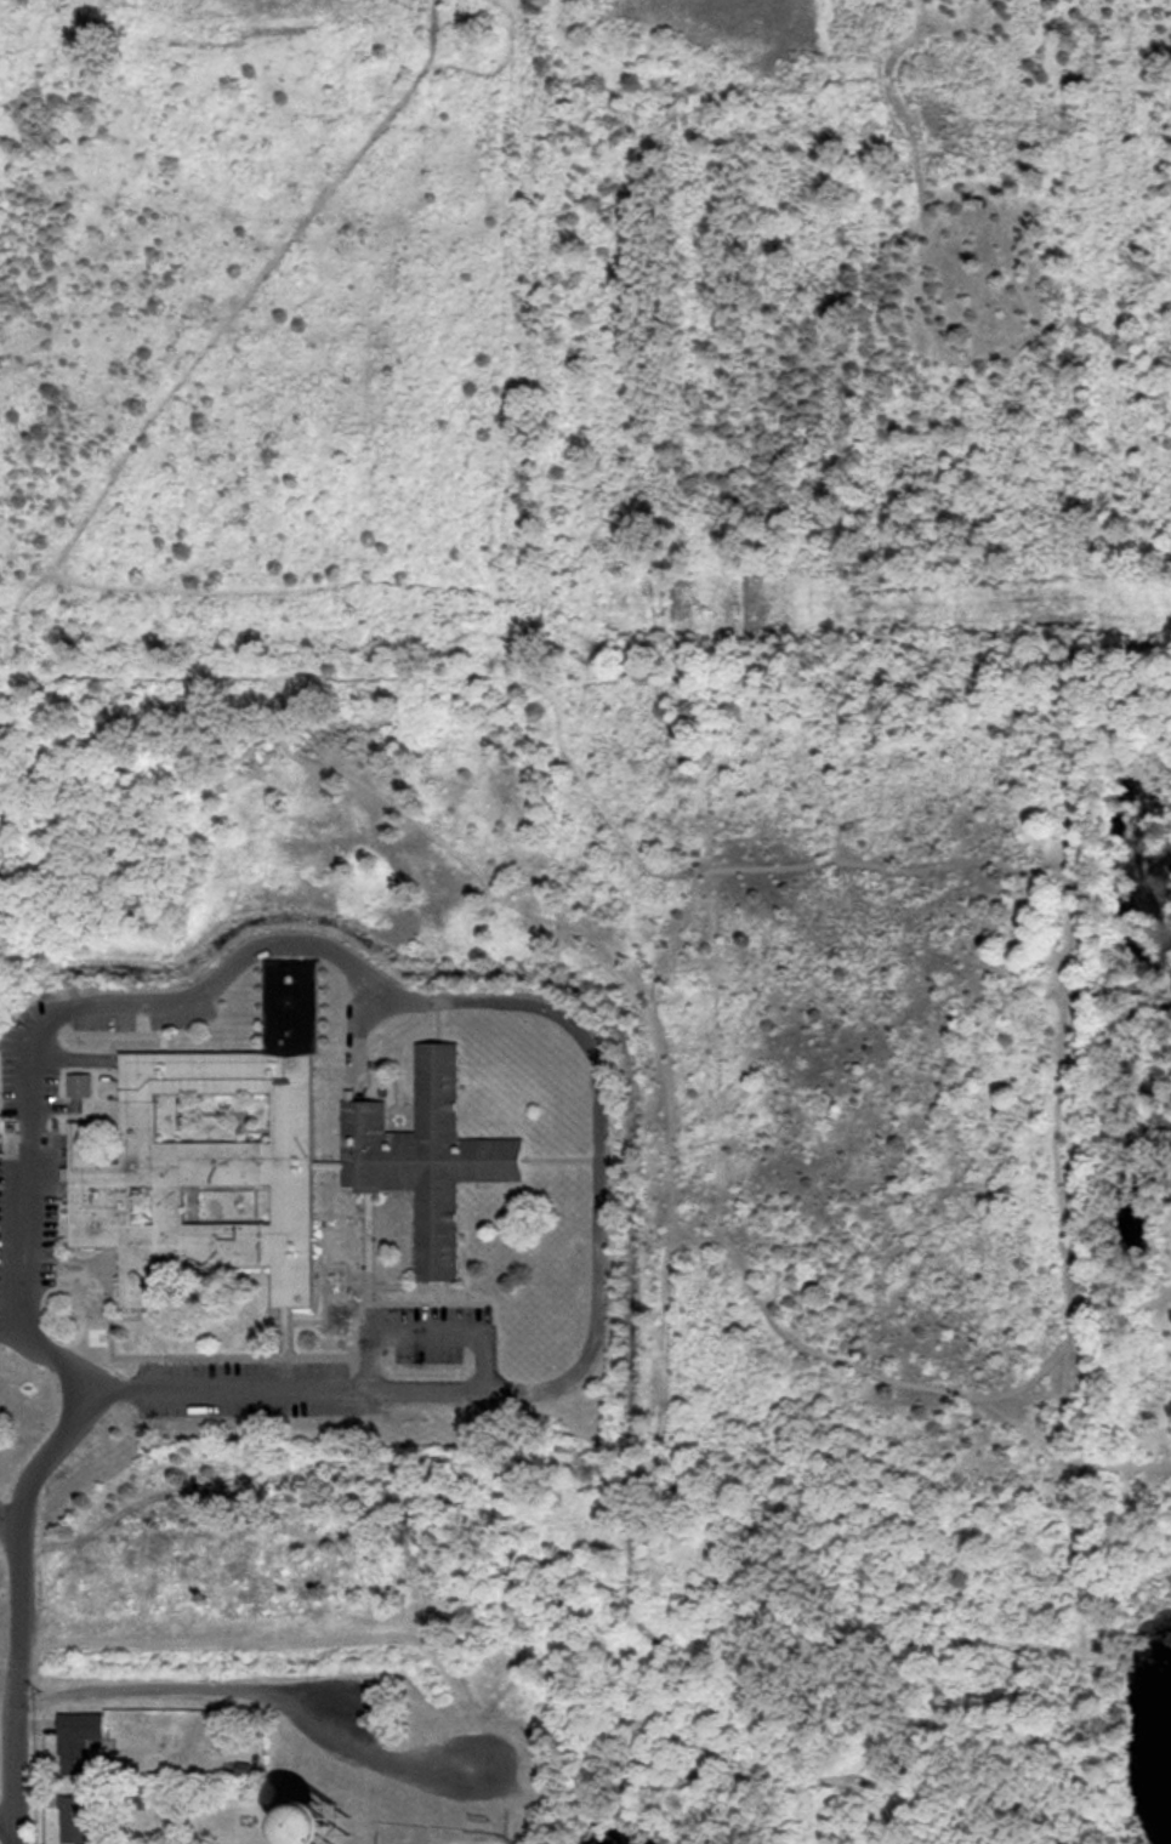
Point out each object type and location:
road: (561, 1024)
building: (79, 1085)
building: (211, 1156)
building: (425, 1157)
road: (425, 1334)
road: (93, 1424)
road: (11, 1525)
road: (15, 1674)
road: (186, 1696)
building: (78, 1740)
road: (5, 1817)
building: (74, 1820)

